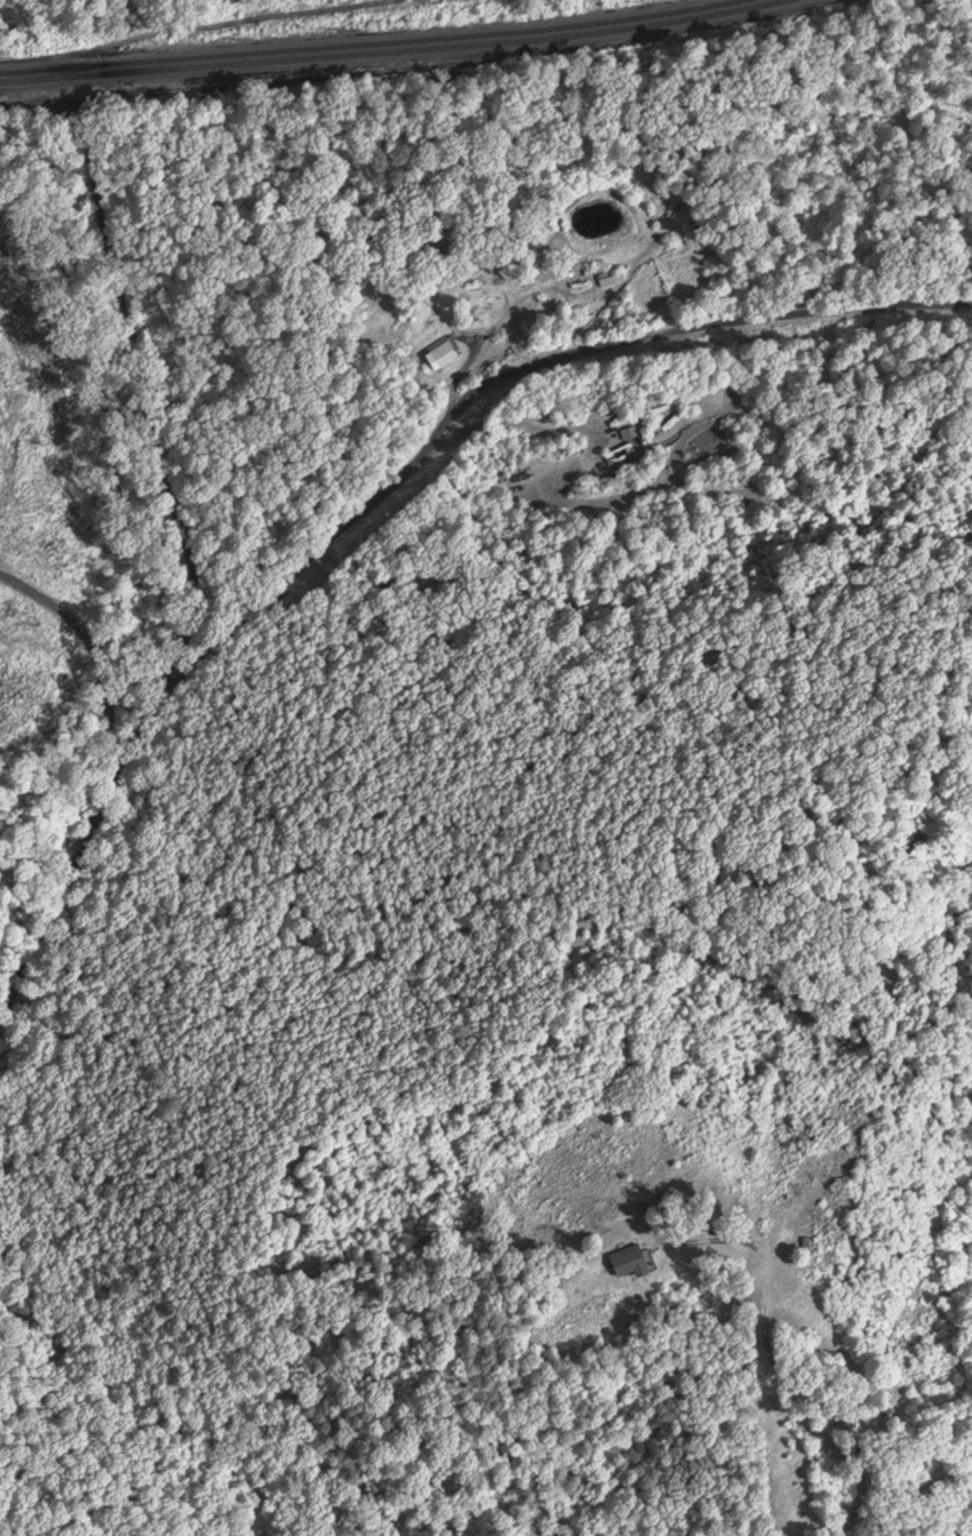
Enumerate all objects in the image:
railway: (374, 45)
railway: (397, 52)
building: (609, 276)
building: (440, 350)
road: (498, 382)
building: (627, 431)
building: (616, 452)
road: (193, 579)
road: (98, 656)
road: (105, 742)
road: (762, 1256)
building: (627, 1258)
road: (848, 1432)

